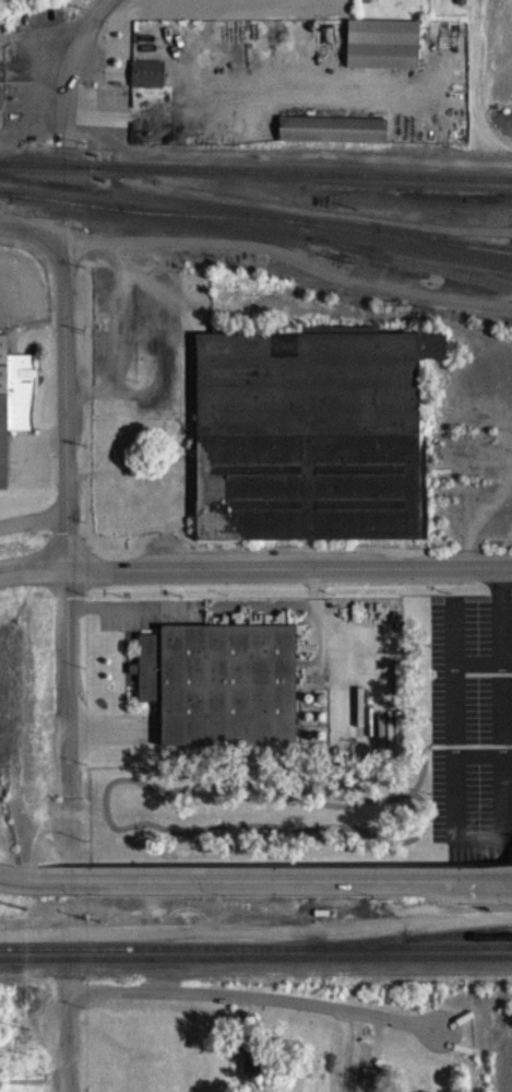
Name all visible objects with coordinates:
building: (367, 1)
building: (384, 54)
road: (75, 69)
building: (150, 82)
building: (2, 113)
building: (334, 138)
railway: (255, 180)
railway: (0, 201)
railway: (0, 201)
road: (314, 221)
railway: (255, 223)
railway: (210, 225)
road: (28, 231)
railway: (257, 238)
railway: (454, 247)
road: (287, 265)
railway: (403, 268)
railway: (82, 355)
road: (64, 404)
building: (14, 410)
building: (309, 432)
road: (33, 446)
road: (33, 530)
road: (34, 567)
road: (289, 567)
road: (191, 607)
road: (315, 612)
road: (484, 671)
road: (69, 672)
building: (219, 681)
road: (505, 708)
road: (110, 727)
road: (457, 752)
road: (485, 765)
road: (254, 881)
railway: (475, 930)
railway: (396, 939)
road: (26, 944)
railway: (255, 947)
railway: (255, 955)
road: (259, 994)
road: (71, 1042)
road: (344, 1050)
building: (259, 1070)

